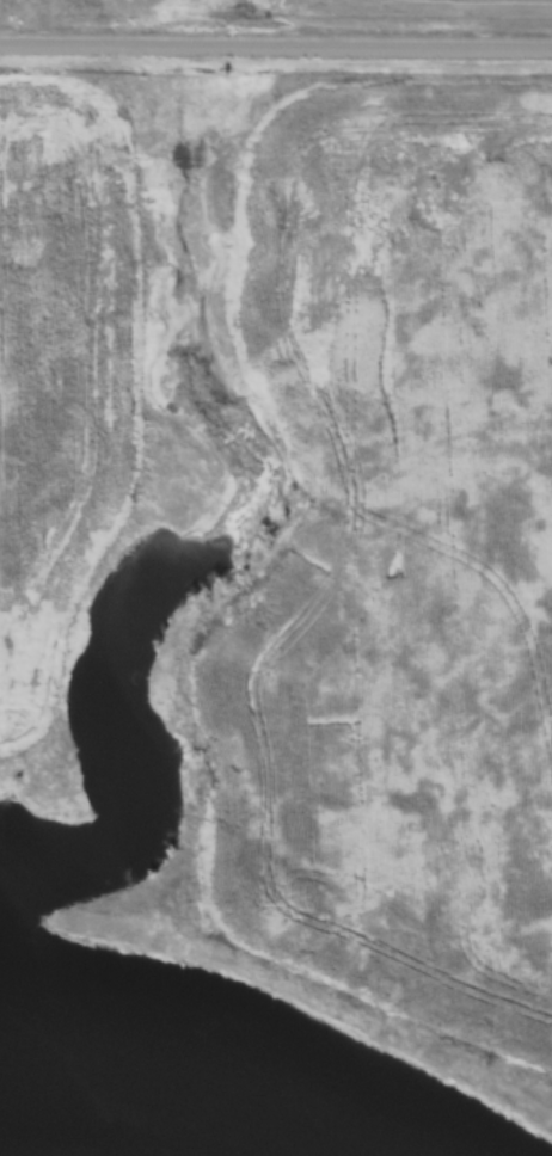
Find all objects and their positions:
road: (276, 47)
river: (167, 1112)

